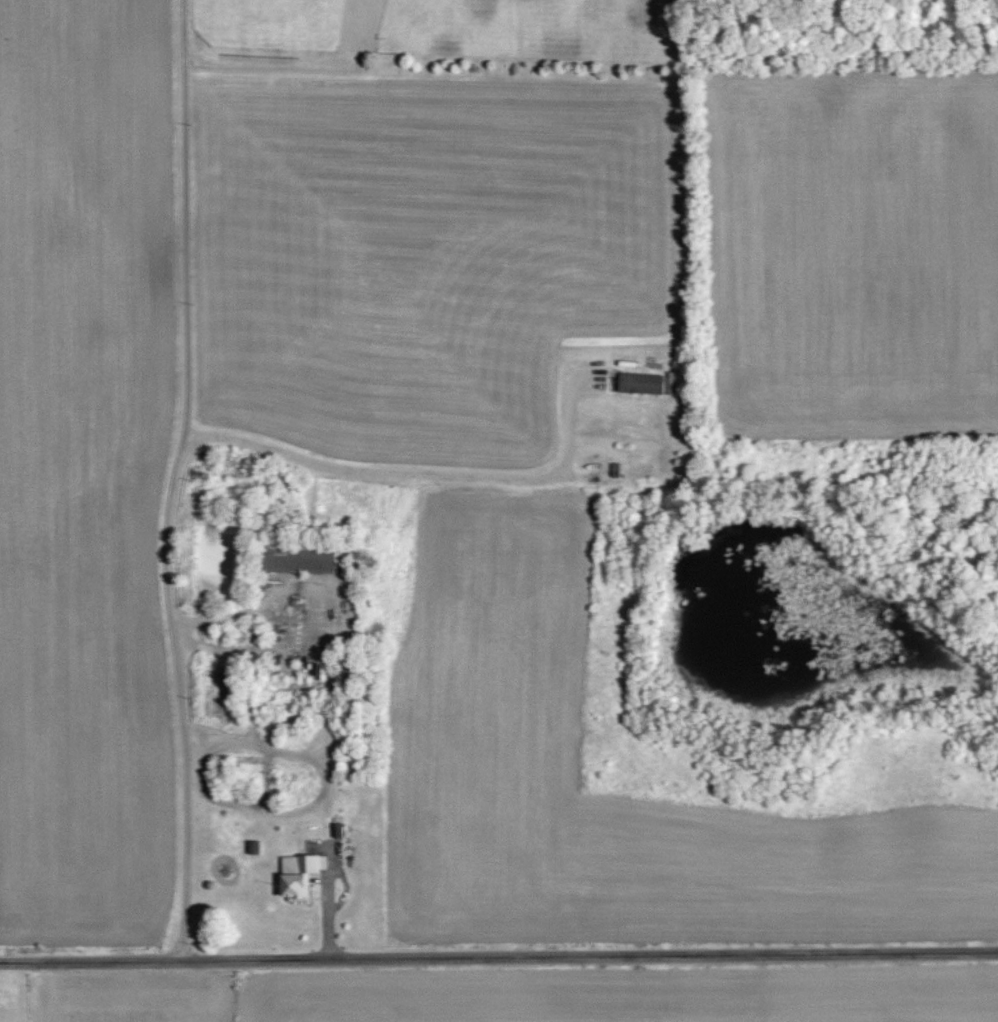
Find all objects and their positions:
building: (639, 383)
building: (297, 875)
road: (499, 956)

